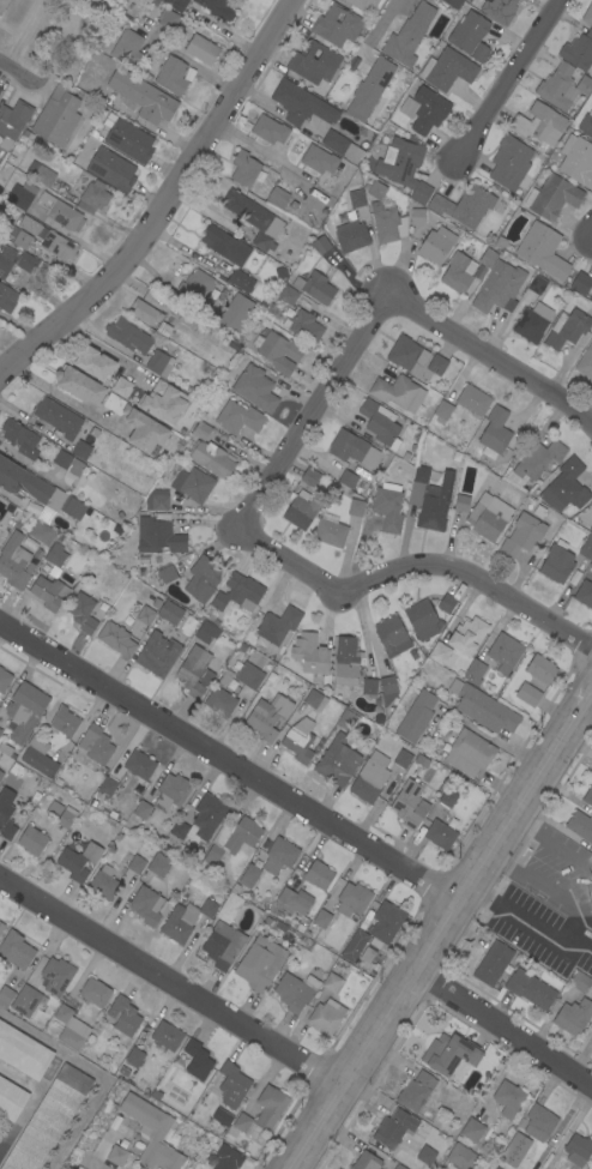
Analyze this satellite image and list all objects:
building: (453, 2)
building: (85, 4)
building: (176, 4)
building: (361, 4)
building: (2, 5)
building: (217, 7)
building: (499, 10)
building: (587, 14)
building: (168, 18)
building: (337, 25)
building: (67, 31)
road: (22, 32)
building: (409, 35)
building: (470, 36)
road: (367, 43)
building: (127, 49)
building: (201, 49)
building: (579, 50)
building: (313, 61)
building: (448, 68)
road: (18, 73)
building: (170, 73)
building: (0, 84)
road: (503, 84)
building: (371, 85)
building: (584, 85)
building: (557, 86)
building: (0, 88)
building: (143, 96)
building: (301, 104)
building: (427, 109)
building: (58, 115)
building: (12, 122)
building: (539, 123)
building: (586, 123)
building: (270, 129)
building: (127, 138)
building: (342, 146)
building: (10, 159)
building: (319, 159)
building: (576, 159)
building: (509, 162)
building: (404, 167)
building: (111, 169)
building: (247, 169)
building: (40, 173)
building: (19, 194)
building: (95, 194)
road: (157, 195)
building: (552, 197)
building: (278, 198)
building: (356, 198)
building: (464, 206)
building: (60, 212)
building: (385, 216)
building: (417, 216)
building: (344, 217)
building: (253, 218)
building: (352, 237)
road: (591, 237)
building: (22, 240)
building: (48, 240)
building: (320, 243)
building: (436, 245)
building: (226, 246)
building: (542, 249)
building: (488, 257)
building: (5, 260)
building: (26, 263)
building: (176, 265)
building: (458, 272)
building: (241, 279)
building: (581, 283)
building: (537, 284)
building: (195, 285)
building: (314, 287)
building: (499, 288)
building: (288, 295)
building: (590, 297)
building: (7, 299)
building: (234, 309)
building: (145, 312)
building: (530, 325)
building: (304, 326)
building: (567, 329)
building: (128, 336)
building: (234, 344)
road: (102, 347)
building: (279, 351)
building: (403, 352)
road: (491, 356)
building: (585, 362)
building: (95, 363)
building: (159, 363)
building: (436, 364)
building: (79, 385)
building: (250, 385)
building: (120, 386)
building: (394, 391)
road: (59, 392)
building: (473, 400)
building: (163, 402)
road: (309, 410)
building: (442, 411)
building: (58, 417)
building: (238, 417)
building: (380, 423)
building: (144, 430)
building: (201, 430)
building: (494, 433)
building: (20, 438)
building: (354, 448)
building: (81, 450)
building: (211, 458)
building: (62, 459)
building: (538, 459)
building: (309, 477)
building: (348, 478)
building: (22, 482)
building: (193, 484)
building: (563, 484)
building: (430, 498)
building: (157, 500)
building: (461, 502)
road: (24, 504)
building: (388, 506)
building: (72, 507)
building: (355, 507)
building: (300, 510)
building: (488, 516)
building: (591, 529)
building: (42, 532)
building: (330, 532)
building: (158, 535)
building: (522, 535)
building: (586, 547)
building: (55, 555)
building: (13, 561)
building: (557, 562)
building: (590, 562)
road: (410, 571)
building: (167, 574)
building: (66, 578)
building: (203, 579)
building: (49, 592)
building: (238, 592)
building: (584, 593)
building: (156, 602)
building: (446, 604)
building: (81, 611)
building: (169, 613)
building: (145, 615)
building: (423, 620)
building: (277, 626)
building: (204, 632)
building: (392, 635)
building: (467, 635)
building: (116, 638)
building: (241, 646)
building: (439, 652)
building: (505, 652)
building: (157, 653)
building: (313, 656)
building: (346, 662)
building: (540, 669)
building: (194, 671)
building: (475, 671)
building: (273, 674)
building: (249, 675)
building: (4, 679)
building: (230, 683)
building: (369, 687)
building: (388, 688)
building: (528, 694)
building: (313, 699)
building: (221, 701)
building: (482, 707)
building: (24, 711)
building: (268, 716)
building: (416, 716)
building: (346, 719)
building: (62, 721)
building: (0, 731)
building: (298, 740)
building: (96, 745)
building: (467, 752)
building: (38, 758)
building: (401, 758)
road: (228, 759)
building: (421, 760)
building: (337, 761)
building: (139, 764)
building: (1, 773)
building: (369, 778)
building: (107, 785)
building: (171, 791)
building: (448, 796)
building: (588, 796)
building: (410, 805)
building: (140, 811)
building: (6, 813)
building: (60, 814)
building: (207, 815)
building: (580, 826)
building: (179, 828)
building: (441, 831)
building: (231, 839)
building: (31, 840)
road: (550, 844)
building: (279, 855)
building: (78, 861)
building: (135, 863)
building: (158, 864)
building: (318, 874)
building: (249, 875)
building: (104, 882)
road: (544, 891)
building: (354, 899)
building: (294, 900)
building: (591, 903)
building: (146, 905)
building: (229, 906)
building: (591, 914)
building: (321, 918)
building: (185, 920)
road: (526, 921)
road: (566, 924)
building: (1, 927)
road: (437, 929)
building: (374, 930)
building: (223, 945)
building: (16, 950)
building: (260, 963)
building: (493, 963)
building: (56, 976)
building: (334, 977)
road: (171, 980)
building: (579, 981)
building: (530, 988)
building: (295, 992)
building: (95, 993)
building: (5, 996)
building: (25, 1001)
building: (123, 1016)
building: (326, 1016)
building: (573, 1017)
road: (503, 1025)
building: (71, 1028)
building: (165, 1036)
building: (23, 1052)
building: (449, 1054)
building: (134, 1056)
building: (197, 1060)
building: (232, 1085)
building: (416, 1091)
building: (11, 1099)
building: (508, 1099)
building: (270, 1107)
building: (48, 1120)
building: (114, 1120)
building: (242, 1122)
building: (539, 1122)
building: (394, 1127)
building: (472, 1129)
building: (155, 1134)
building: (514, 1150)
building: (578, 1150)
building: (117, 1156)
building: (425, 1156)
building: (460, 1157)
building: (226, 1158)
building: (366, 1161)
road: (86, 1165)
building: (398, 1167)
building: (496, 1168)

